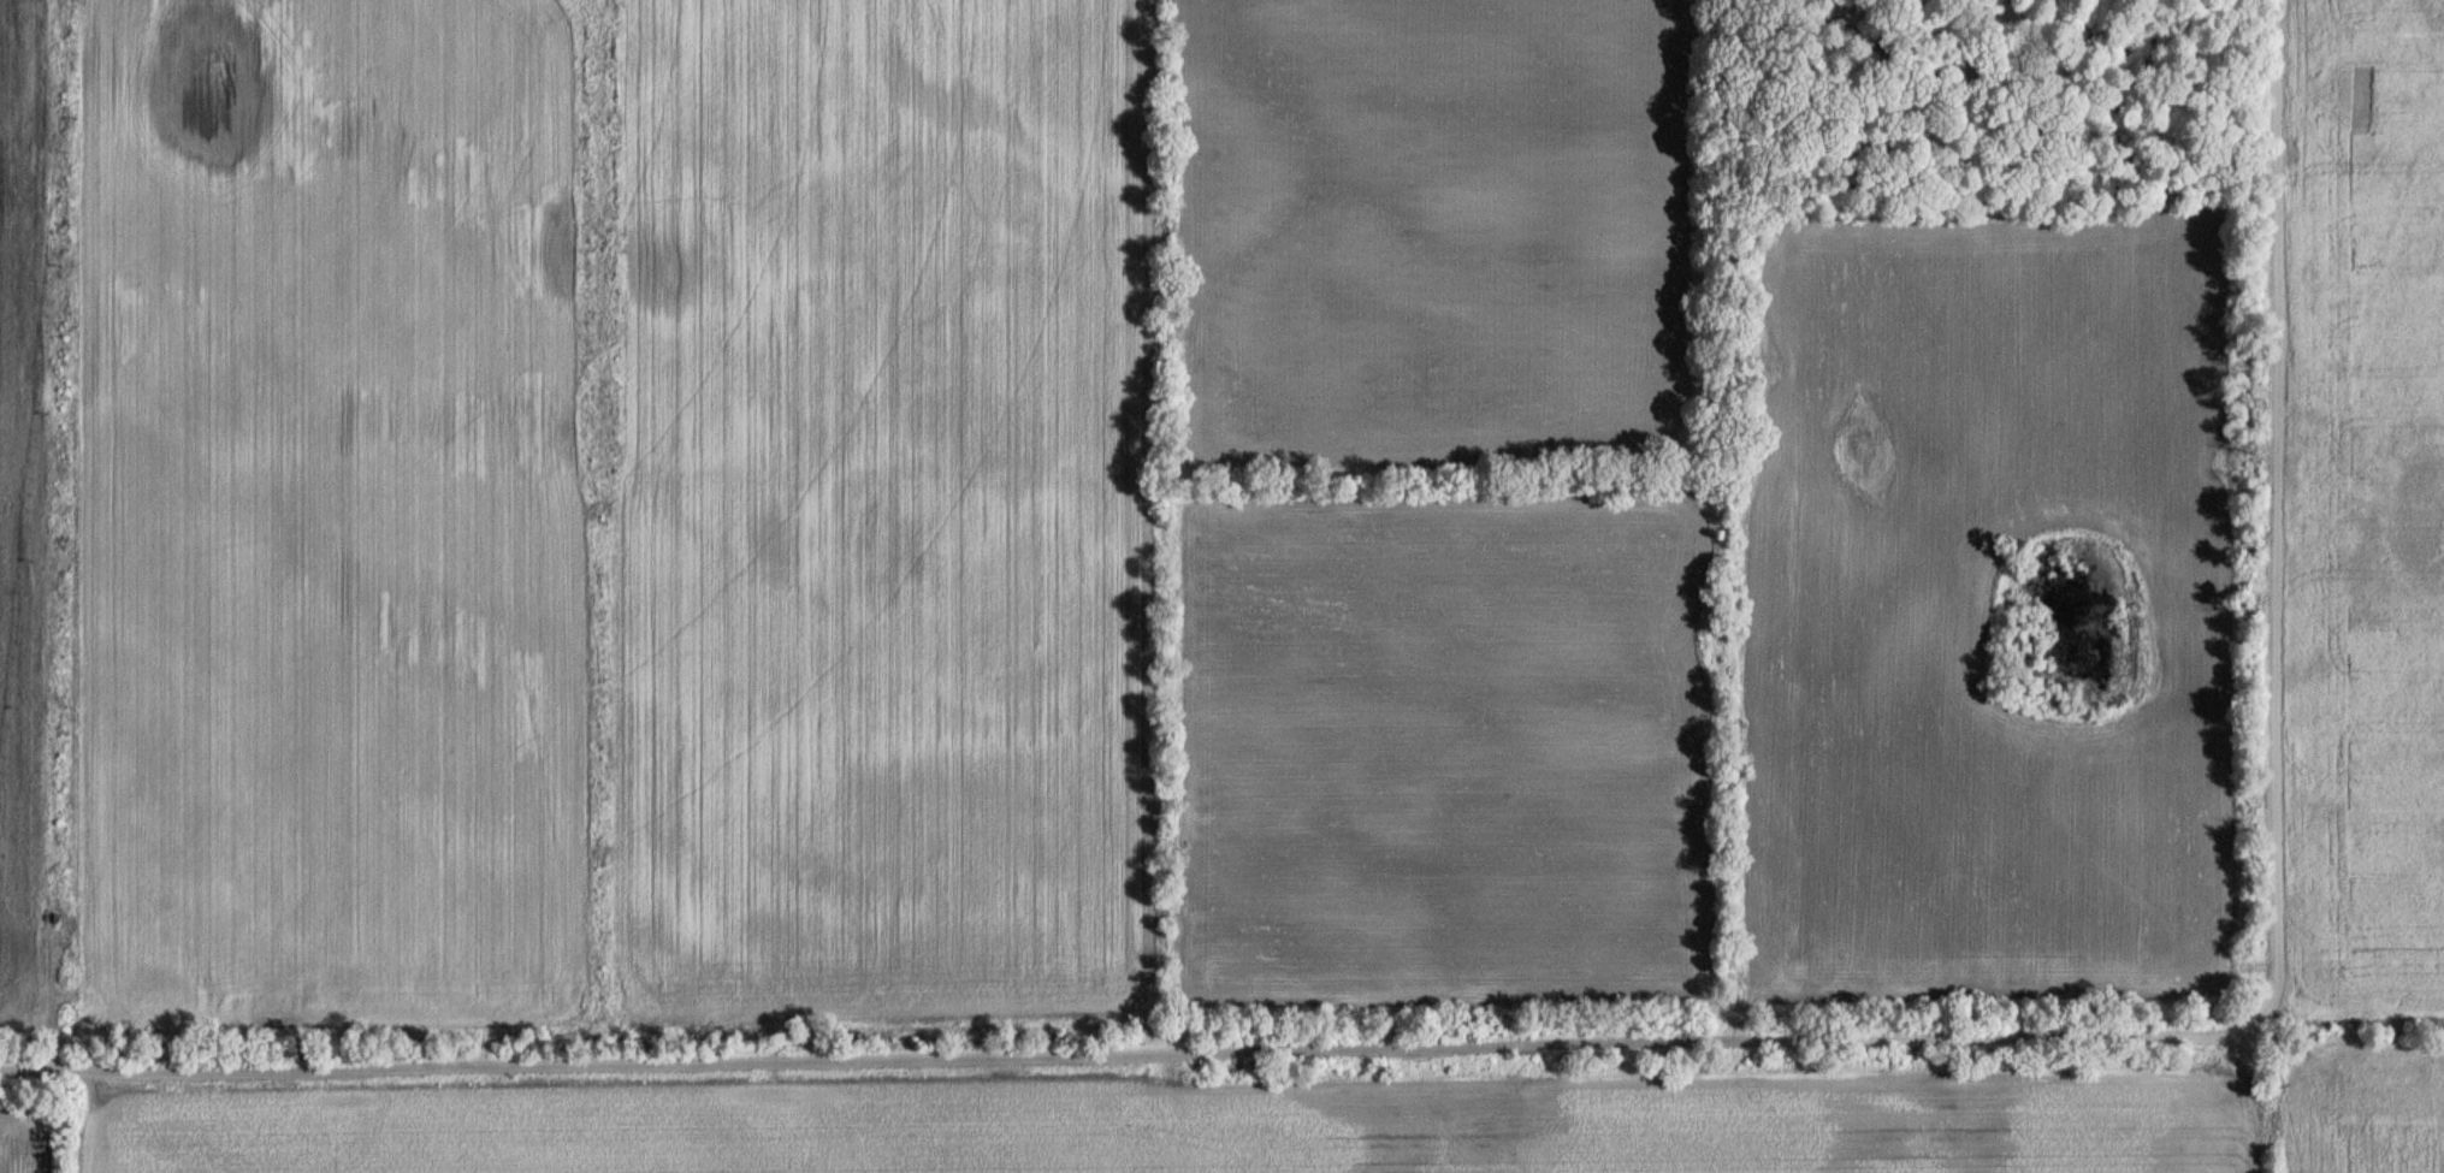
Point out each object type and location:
road: (2266, 508)
road: (1136, 1051)

